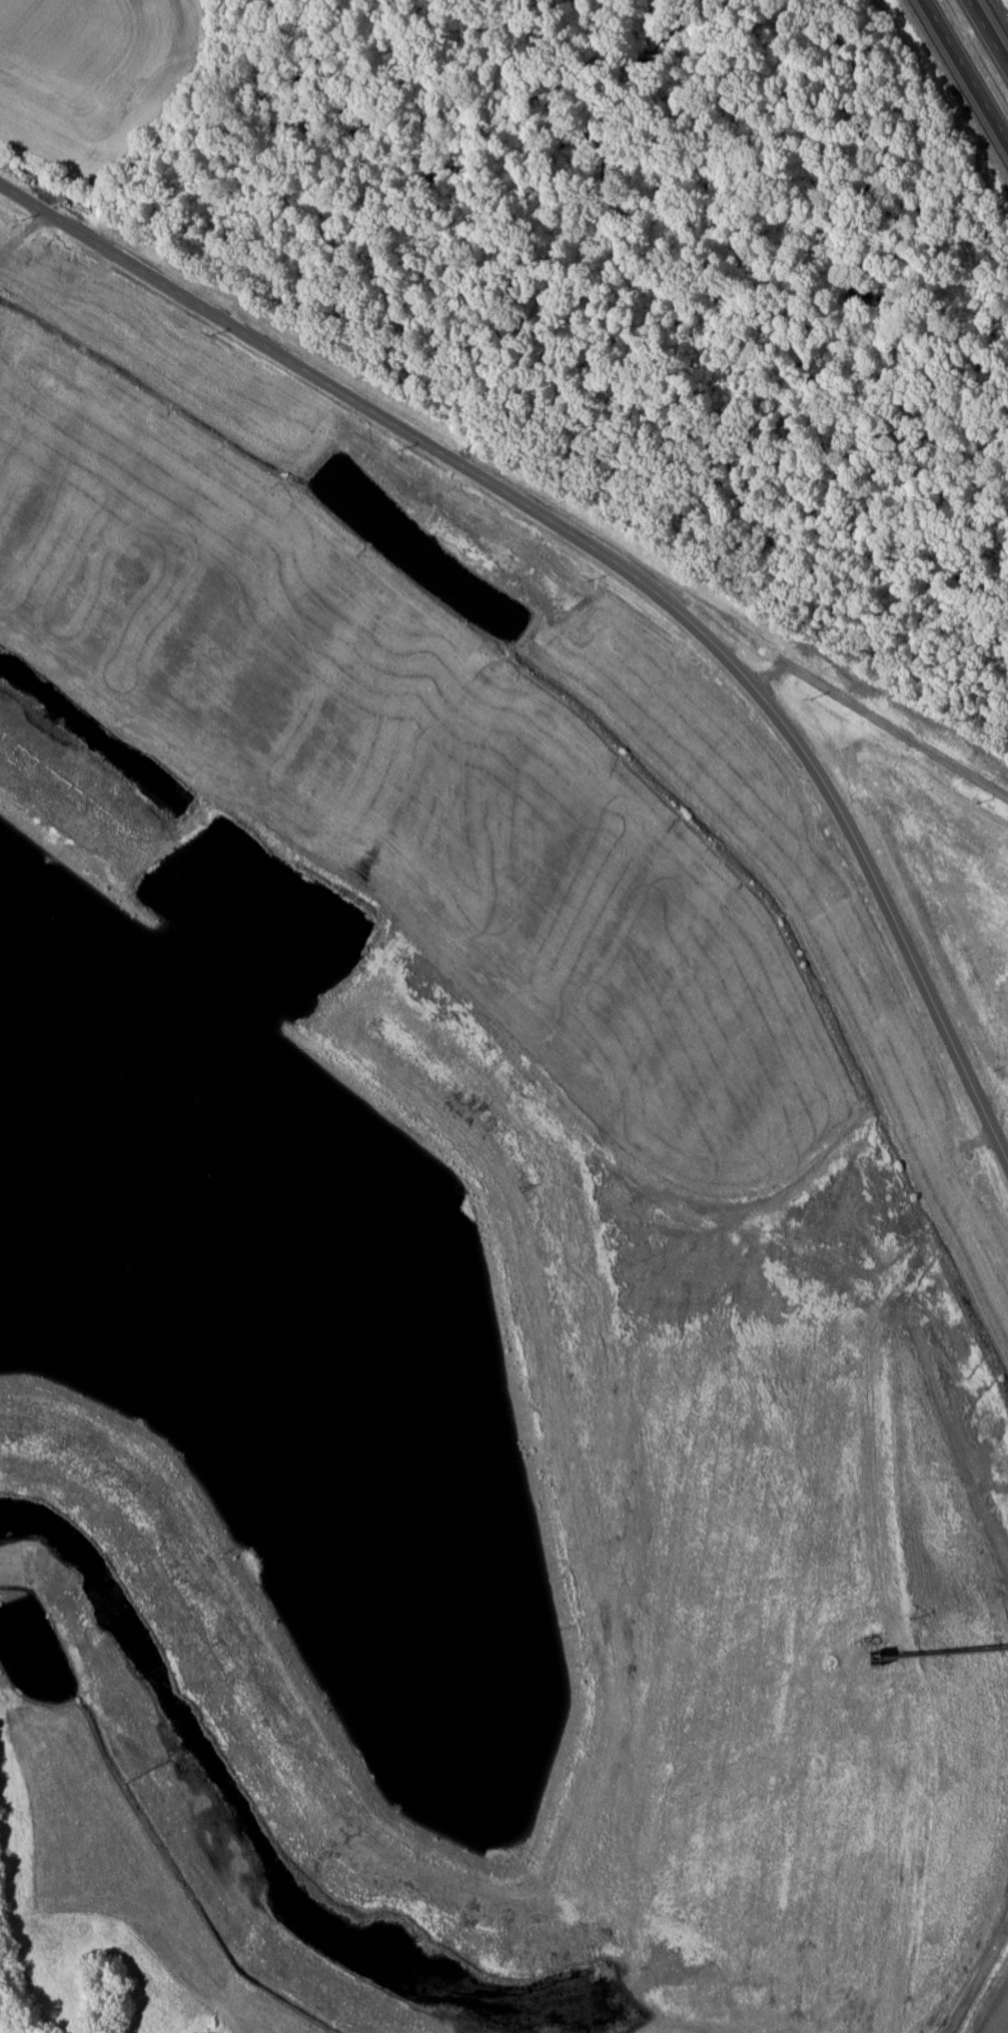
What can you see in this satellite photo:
road: (989, 31)
road: (964, 74)
road: (25, 236)
road: (617, 564)
road: (981, 1141)

